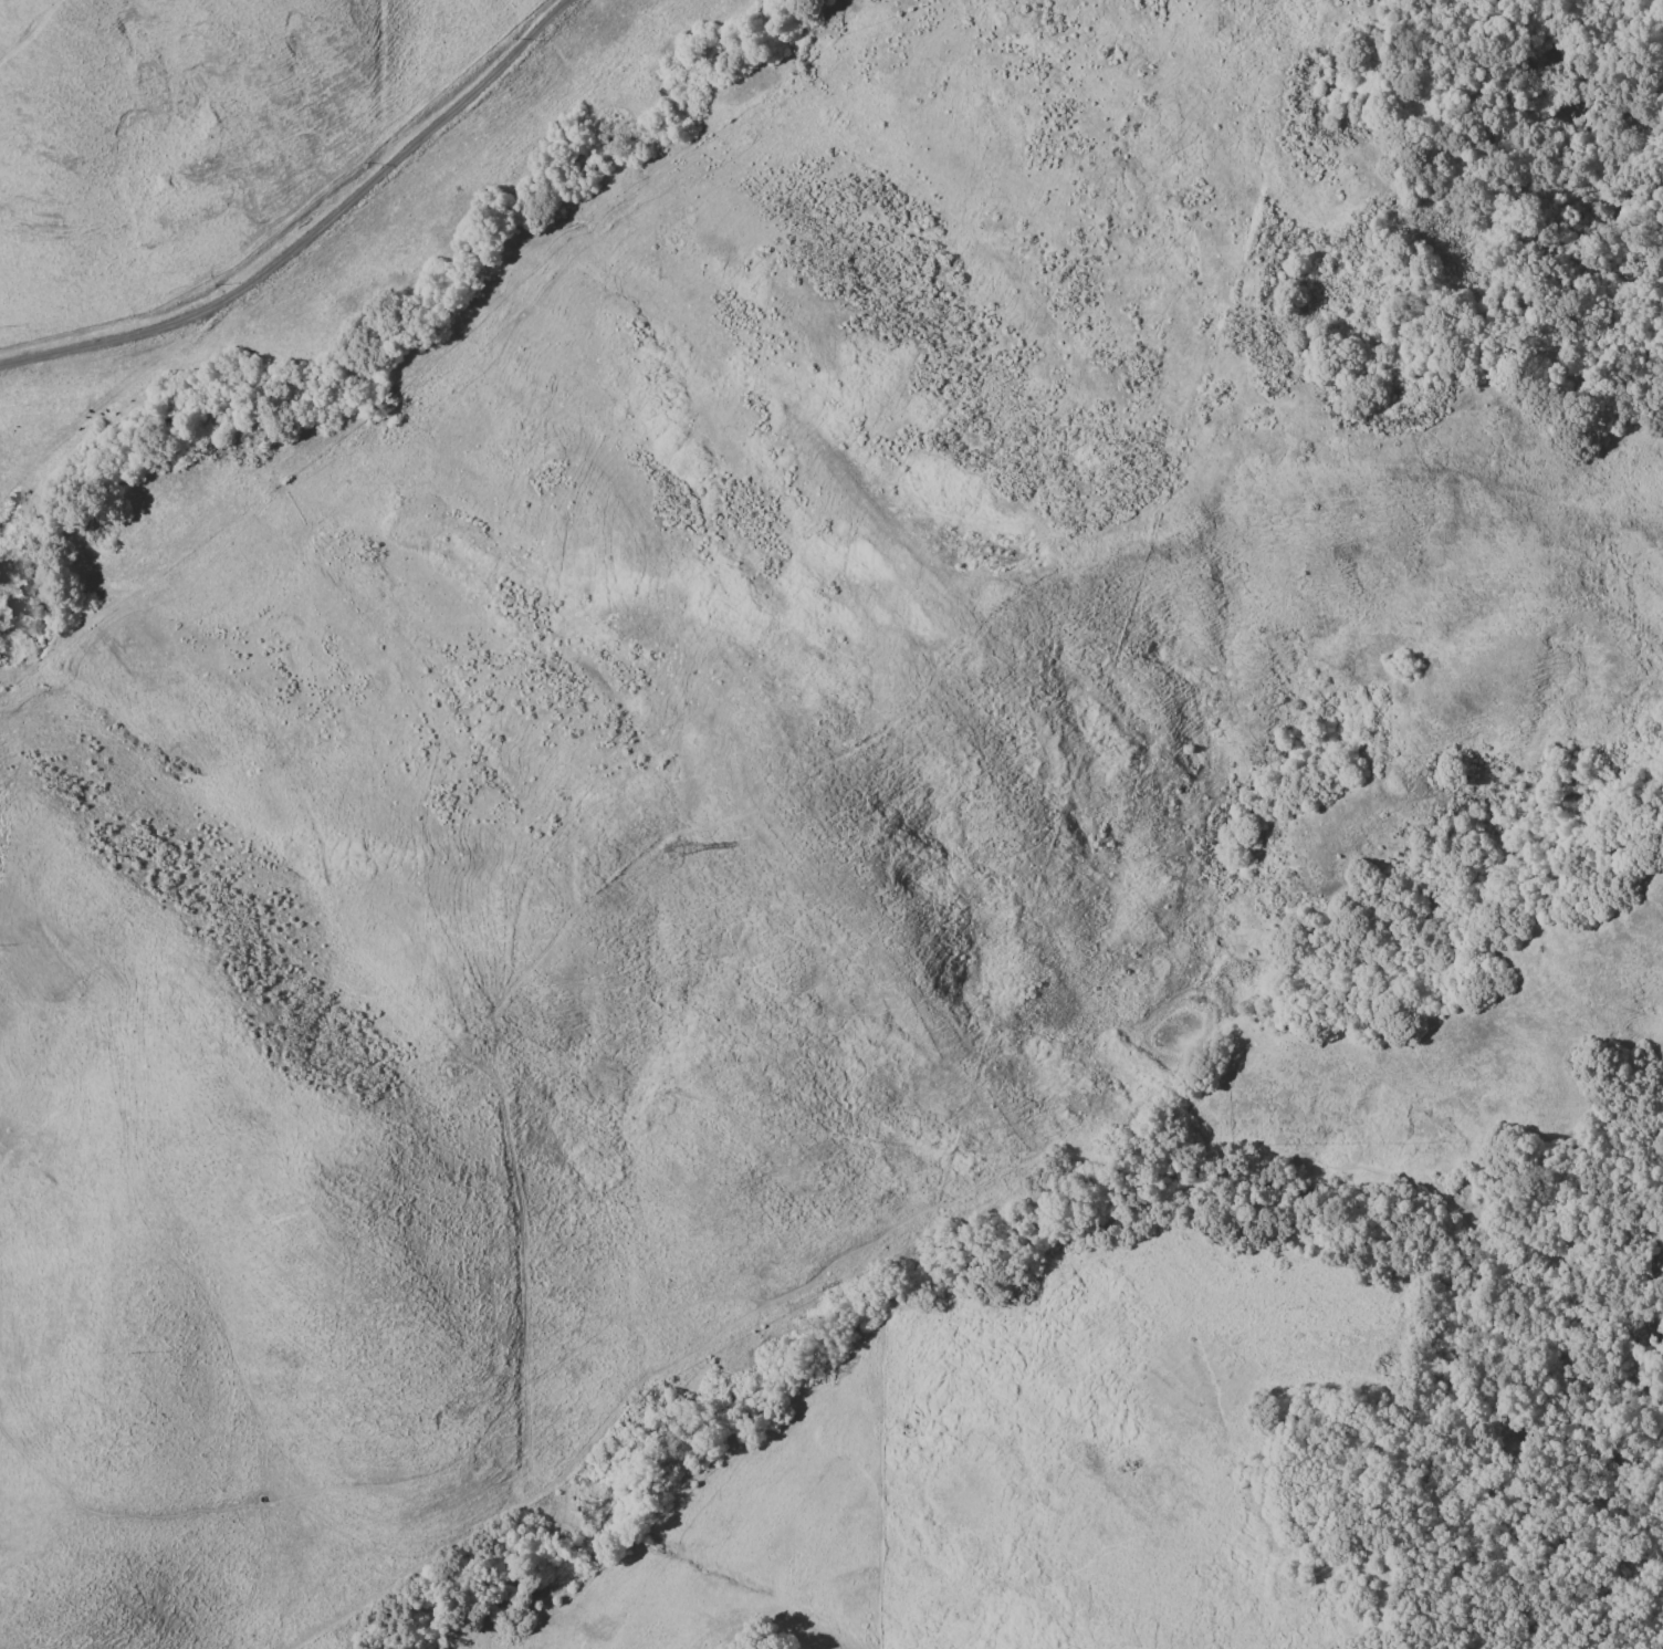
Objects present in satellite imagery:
road: (311, 231)
road: (106, 397)
road: (0, 648)
power tower: (670, 853)
road: (923, 1207)
road: (419, 1465)

